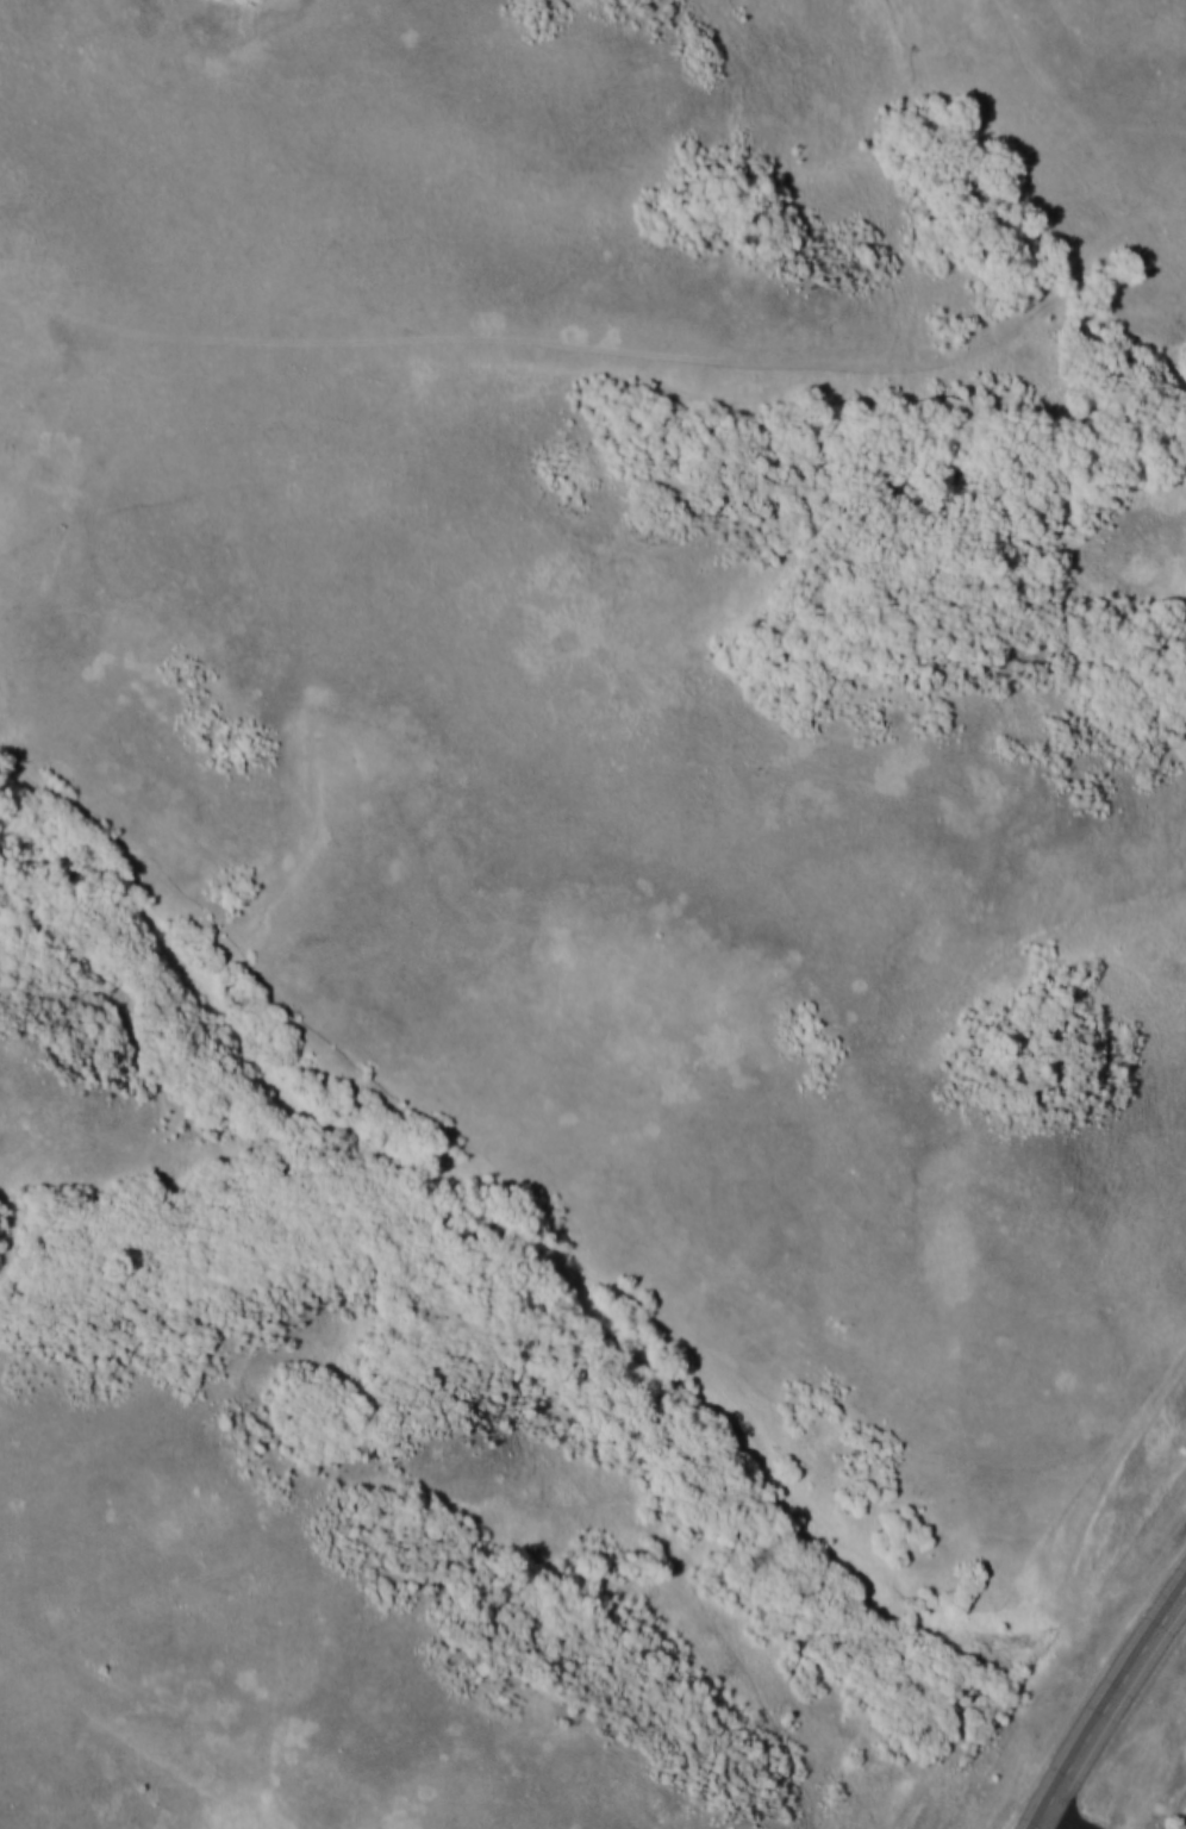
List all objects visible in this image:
road: (1103, 1710)
road: (1061, 1815)

